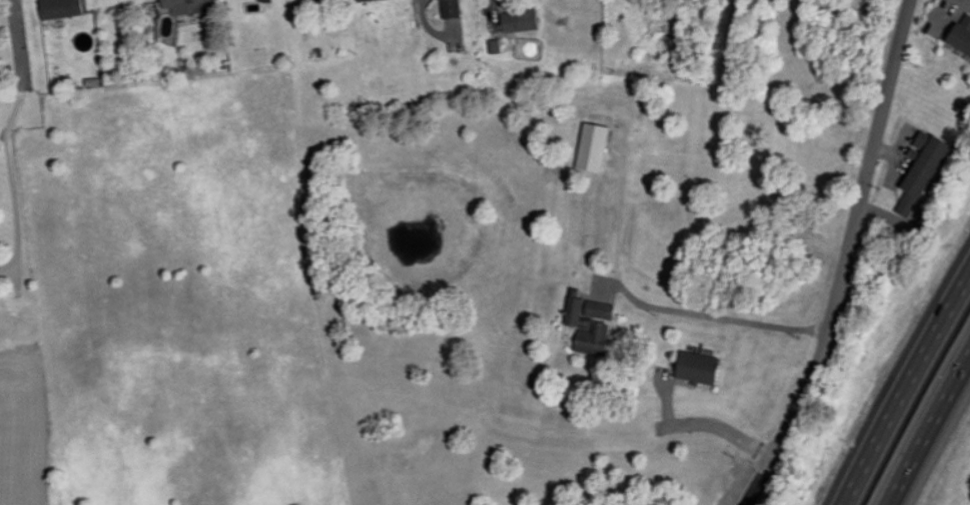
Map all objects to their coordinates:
building: (187, 6)
building: (64, 8)
building: (454, 8)
building: (524, 20)
road: (430, 26)
building: (964, 35)
road: (17, 37)
building: (497, 46)
building: (597, 146)
building: (931, 161)
road: (12, 176)
building: (912, 205)
road: (848, 259)
road: (719, 317)
building: (595, 340)
building: (703, 368)
road: (907, 392)
road: (723, 430)
road: (935, 442)

